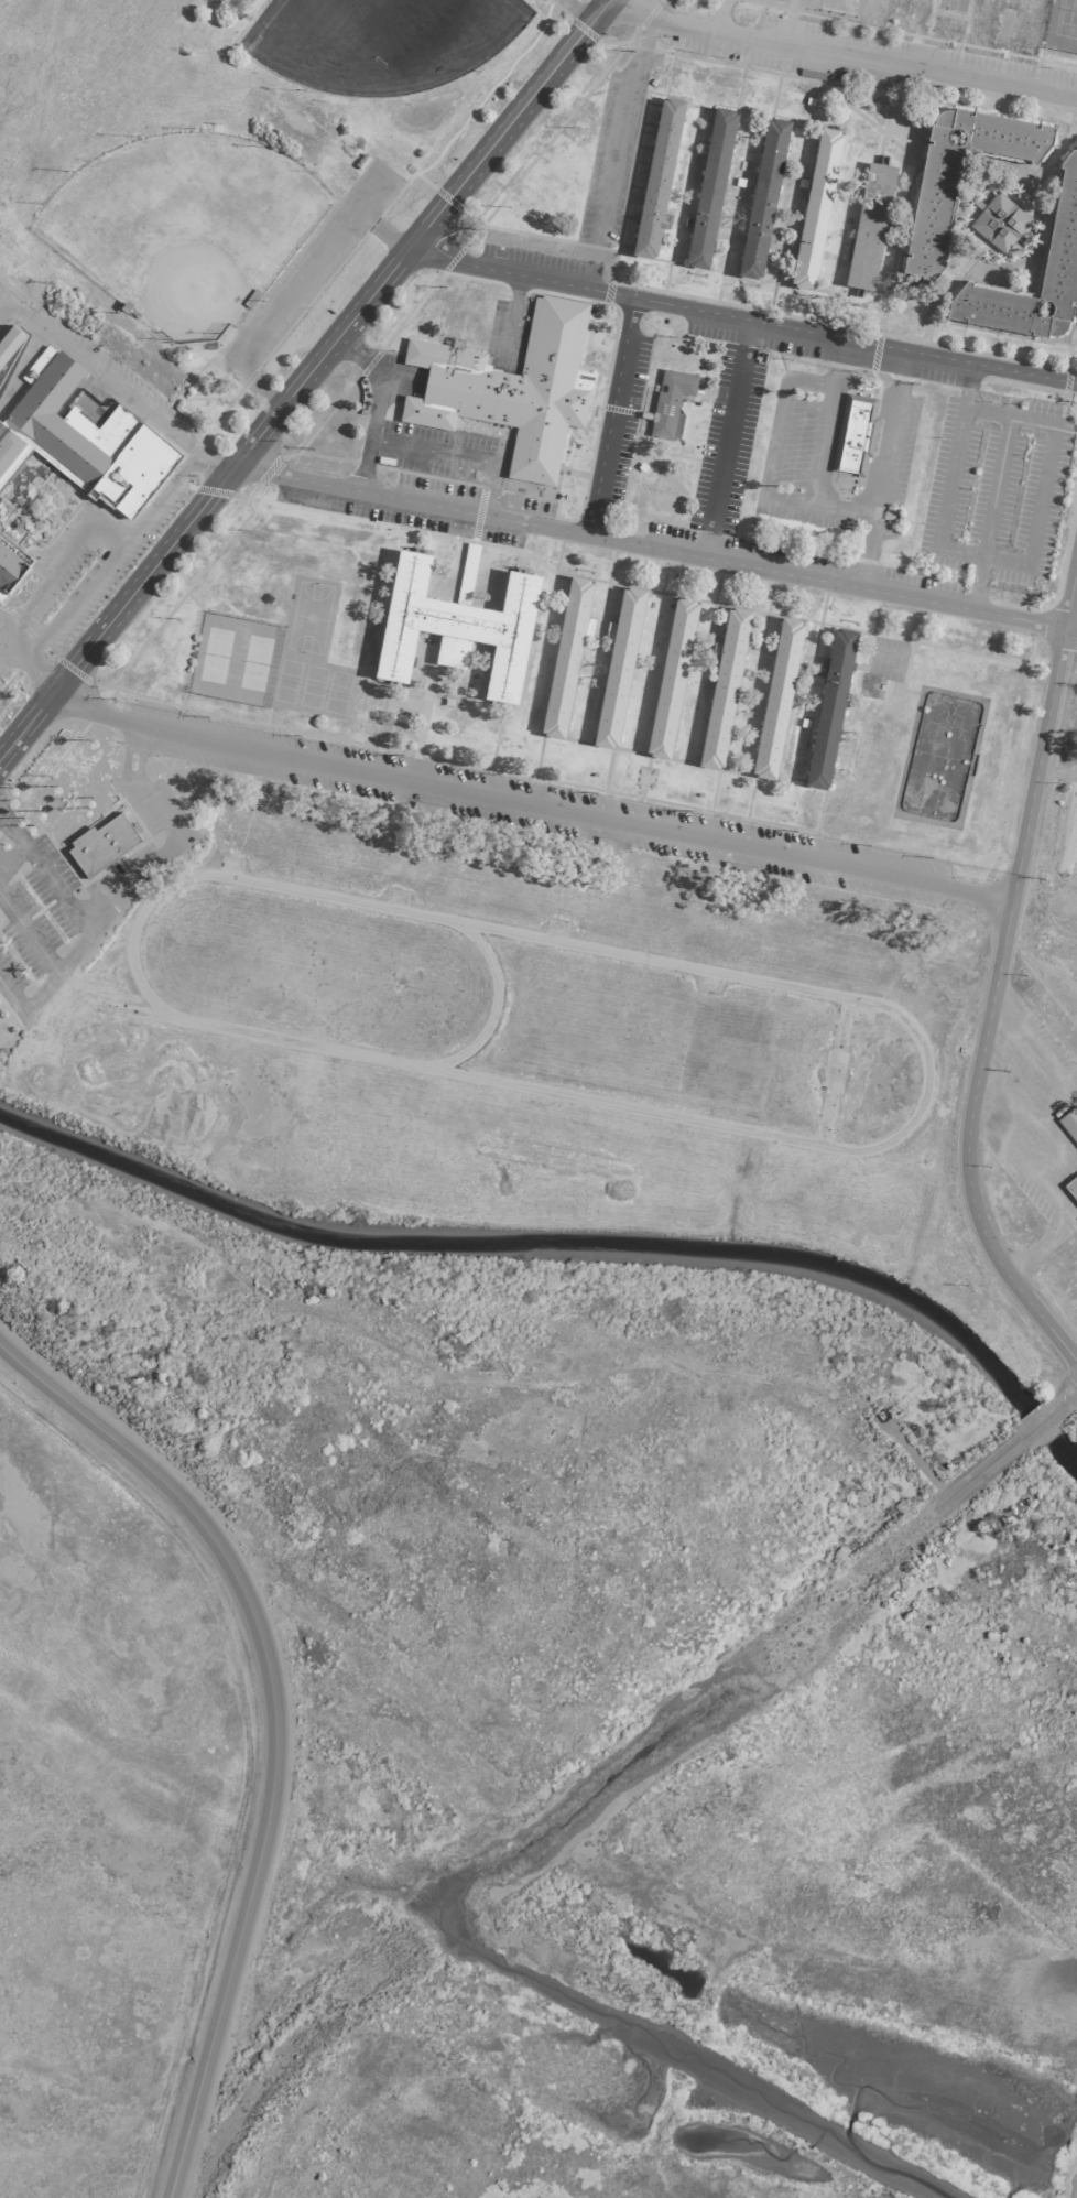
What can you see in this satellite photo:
park: (1066, 19)
road: (824, 56)
road: (614, 154)
building: (657, 175)
building: (709, 187)
building: (762, 197)
building: (932, 207)
building: (815, 208)
building: (1064, 215)
building: (999, 221)
building: (869, 226)
road: (293, 291)
road: (738, 315)
road: (836, 361)
road: (98, 373)
road: (301, 377)
road: (376, 378)
building: (510, 388)
building: (670, 403)
road: (780, 411)
road: (608, 416)
road: (888, 432)
building: (856, 433)
building: (81, 438)
road: (722, 438)
road: (822, 444)
road: (456, 454)
road: (211, 462)
road: (362, 466)
road: (159, 497)
road: (816, 504)
road: (988, 512)
road: (108, 533)
road: (653, 551)
road: (866, 553)
road: (1002, 560)
building: (10, 563)
road: (45, 583)
road: (69, 604)
park: (308, 617)
building: (456, 626)
road: (7, 639)
park: (214, 654)
building: (565, 656)
park: (253, 662)
building: (618, 665)
road: (33, 670)
building: (671, 676)
park: (285, 680)
park: (312, 686)
building: (724, 686)
park: (336, 692)
building: (776, 696)
building: (829, 707)
road: (133, 729)
road: (122, 758)
road: (138, 759)
road: (530, 798)
building: (101, 844)
road: (11, 858)
road: (108, 907)
road: (996, 975)
road: (43, 985)
airport: (538, 1098)
building: (1069, 1122)
building: (1071, 1187)
road: (273, 1725)
road: (608, 1773)

